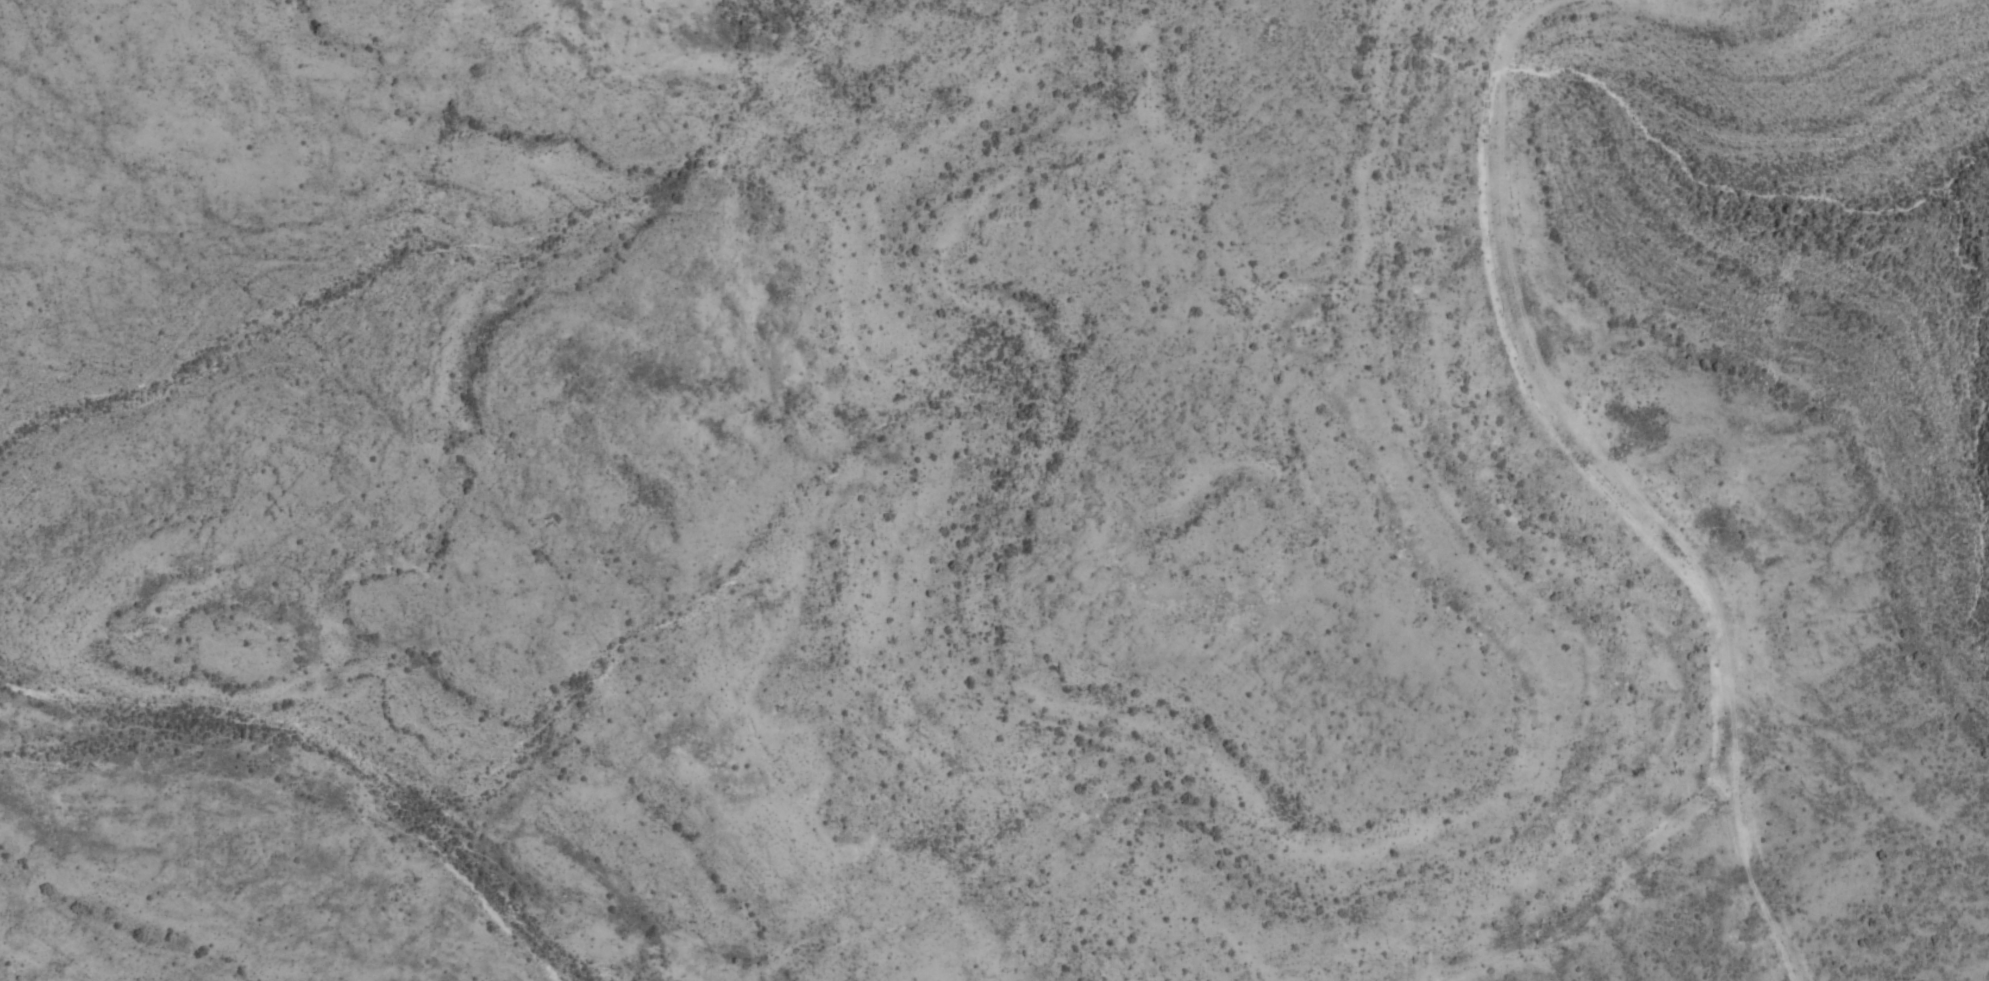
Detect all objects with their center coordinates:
road: (1544, 400)
park: (994, 490)
road: (1754, 878)

